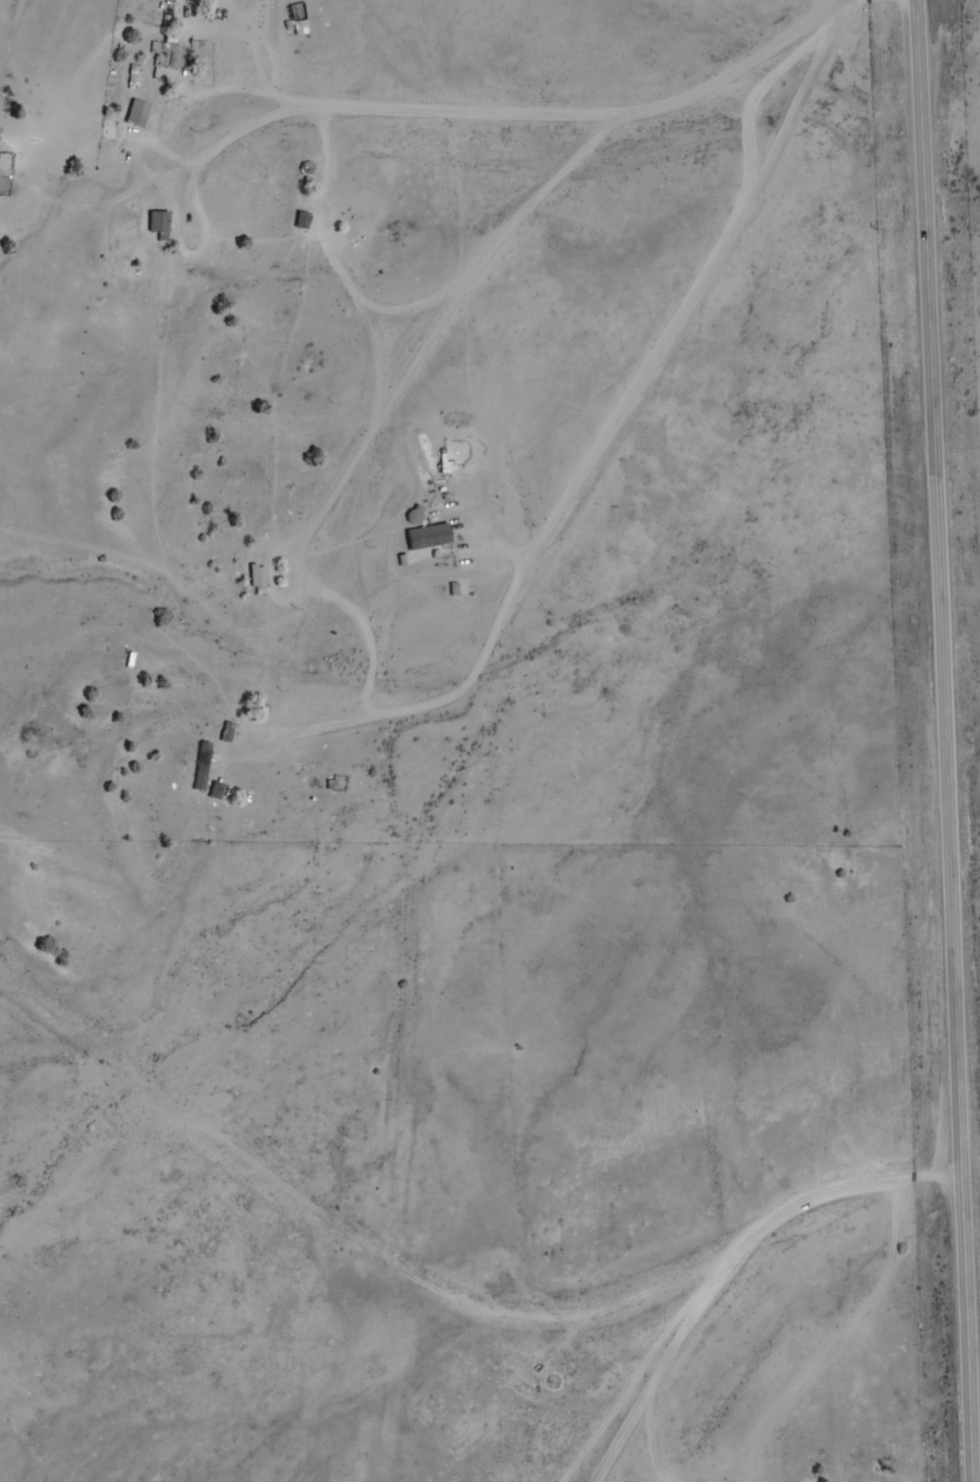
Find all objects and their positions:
building: (168, 13)
building: (300, 26)
building: (171, 54)
building: (135, 76)
building: (138, 113)
building: (302, 220)
building: (159, 222)
building: (416, 514)
building: (258, 577)
building: (224, 732)
road: (946, 740)
building: (202, 765)
building: (216, 790)
road: (870, 1187)
road: (670, 1349)

